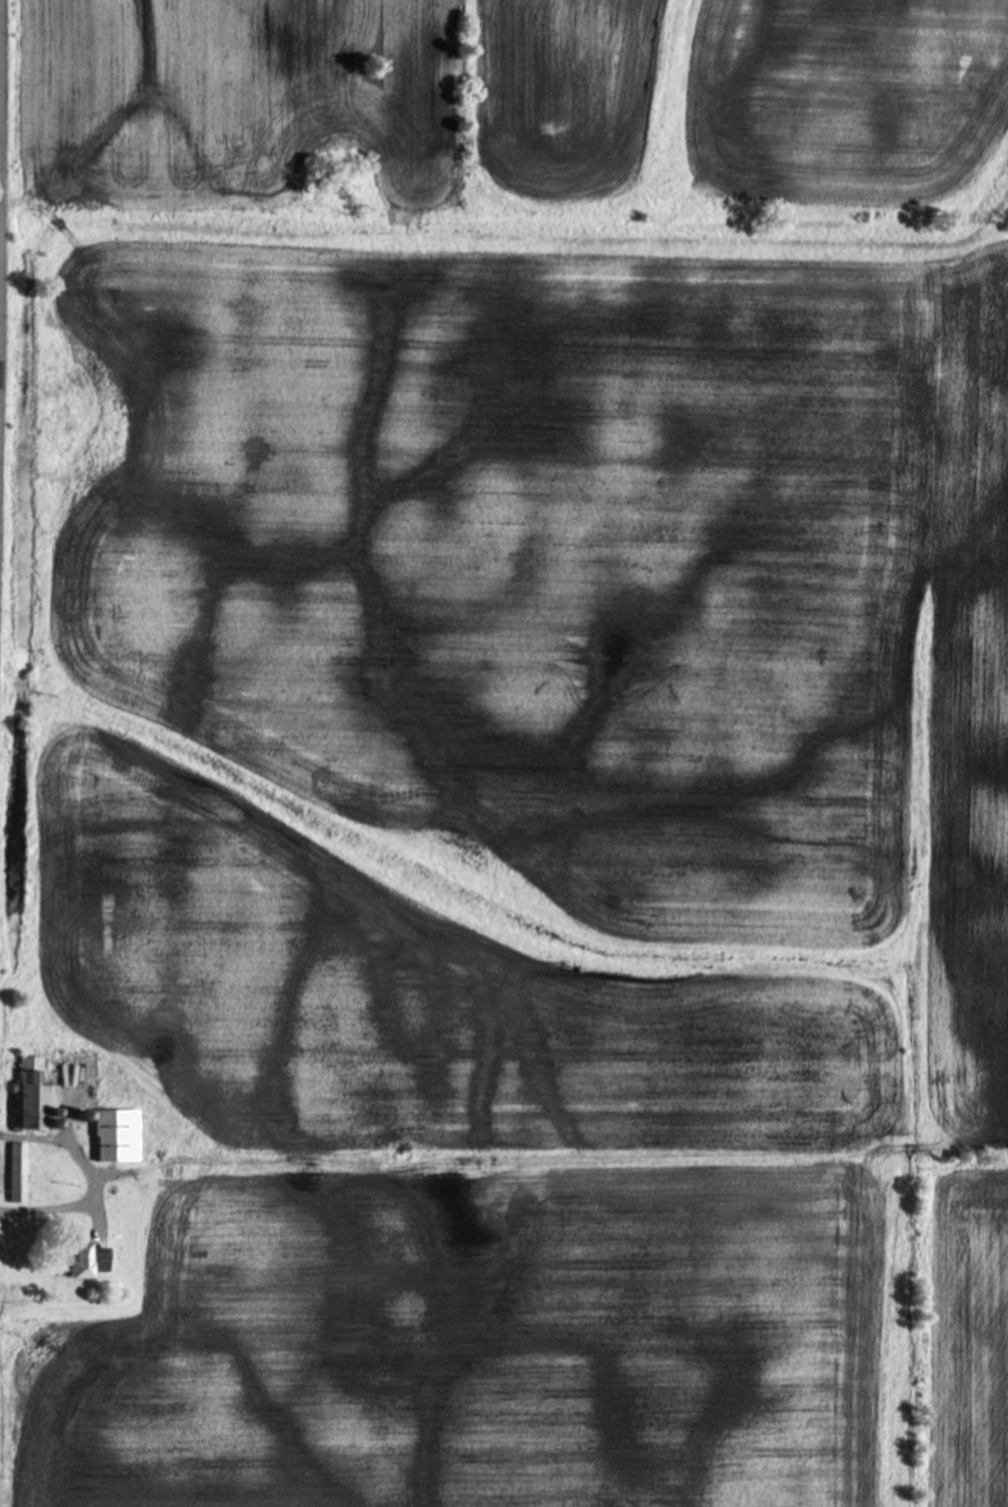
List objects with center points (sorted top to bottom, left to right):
building: (37, 1098)
building: (118, 1137)
building: (19, 1173)
road: (89, 1173)
building: (89, 1262)

